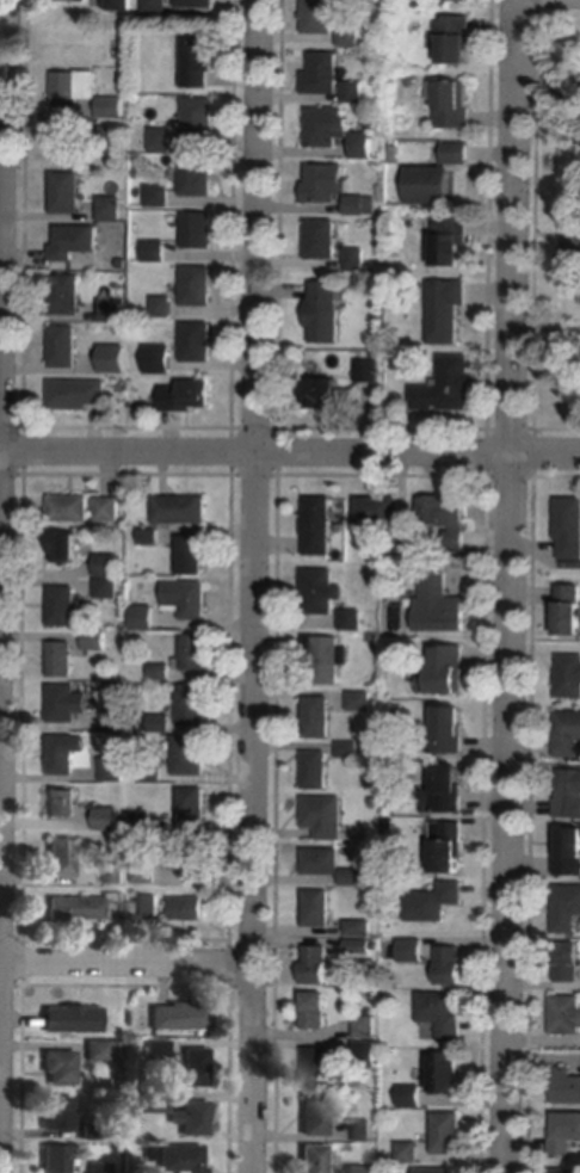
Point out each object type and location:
building: (79, 0)
building: (463, 0)
building: (198, 4)
building: (122, 5)
building: (158, 6)
building: (320, 17)
building: (351, 36)
building: (455, 38)
building: (199, 58)
building: (323, 73)
road: (550, 82)
building: (76, 87)
building: (356, 92)
building: (453, 105)
building: (113, 107)
building: (200, 118)
building: (326, 128)
building: (109, 131)
building: (163, 140)
building: (359, 143)
building: (457, 153)
building: (396, 154)
building: (198, 175)
building: (327, 183)
building: (431, 185)
building: (68, 193)
building: (161, 196)
building: (363, 205)
building: (112, 209)
road: (513, 226)
building: (200, 230)
park: (547, 230)
road: (535, 236)
building: (323, 239)
building: (451, 240)
building: (76, 241)
building: (158, 252)
building: (358, 260)
building: (199, 285)
building: (68, 295)
building: (165, 307)
building: (448, 309)
building: (113, 310)
building: (326, 313)
building: (199, 341)
building: (66, 346)
building: (165, 362)
building: (117, 365)
building: (98, 366)
building: (136, 369)
building: (370, 371)
building: (448, 385)
building: (325, 393)
building: (80, 394)
building: (189, 395)
road: (4, 416)
road: (254, 451)
road: (545, 453)
building: (72, 508)
building: (110, 510)
building: (183, 510)
building: (377, 510)
building: (448, 517)
building: (320, 525)
building: (569, 526)
building: (403, 536)
building: (153, 537)
building: (67, 547)
building: (193, 554)
building: (110, 564)
road: (257, 586)
building: (109, 588)
building: (322, 591)
building: (189, 599)
building: (440, 605)
building: (64, 606)
building: (569, 610)
building: (143, 618)
building: (353, 619)
building: (162, 622)
building: (376, 638)
building: (97, 641)
building: (193, 653)
building: (327, 658)
building: (63, 659)
building: (445, 669)
building: (161, 672)
building: (569, 677)
building: (359, 699)
building: (64, 703)
building: (193, 704)
building: (319, 717)
building: (116, 721)
building: (161, 723)
building: (449, 730)
building: (568, 734)
building: (350, 749)
building: (66, 753)
building: (191, 754)
building: (113, 768)
building: (317, 771)
building: (153, 774)
building: (445, 791)
building: (569, 794)
building: (64, 803)
building: (193, 808)
road: (511, 813)
building: (112, 815)
building: (326, 816)
building: (142, 822)
building: (449, 846)
building: (568, 852)
building: (62, 857)
building: (195, 857)
building: (322, 862)
building: (146, 872)
building: (115, 876)
building: (354, 877)
building: (376, 894)
building: (434, 902)
building: (148, 906)
building: (75, 908)
building: (189, 908)
building: (317, 908)
building: (567, 909)
building: (360, 927)
building: (362, 946)
building: (413, 950)
building: (568, 962)
road: (128, 963)
building: (316, 964)
building: (451, 964)
building: (315, 1011)
building: (443, 1013)
building: (566, 1014)
building: (181, 1015)
building: (73, 1018)
building: (366, 1026)
building: (134, 1029)
building: (98, 1050)
building: (158, 1050)
building: (366, 1054)
building: (60, 1067)
building: (197, 1067)
building: (317, 1067)
building: (448, 1072)
building: (567, 1086)
building: (412, 1095)
building: (152, 1101)
building: (58, 1112)
building: (315, 1115)
building: (196, 1118)
building: (362, 1130)
building: (93, 1132)
building: (450, 1132)
building: (566, 1134)
building: (409, 1149)
building: (150, 1154)
building: (183, 1157)
building: (55, 1159)
building: (315, 1159)
building: (100, 1167)
building: (362, 1169)
building: (437, 1171)
building: (564, 1171)

